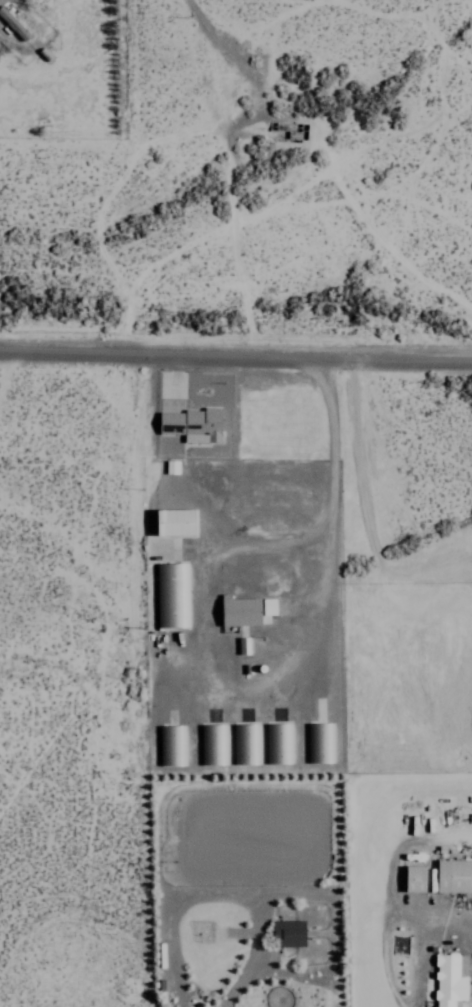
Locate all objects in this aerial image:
building: (13, 24)
road: (236, 355)
building: (191, 424)
building: (170, 466)
building: (174, 521)
building: (171, 594)
building: (267, 606)
building: (239, 610)
building: (241, 645)
building: (319, 742)
building: (245, 743)
building: (277, 743)
building: (212, 744)
building: (171, 745)
building: (453, 876)
building: (414, 878)
building: (287, 933)
building: (449, 979)

